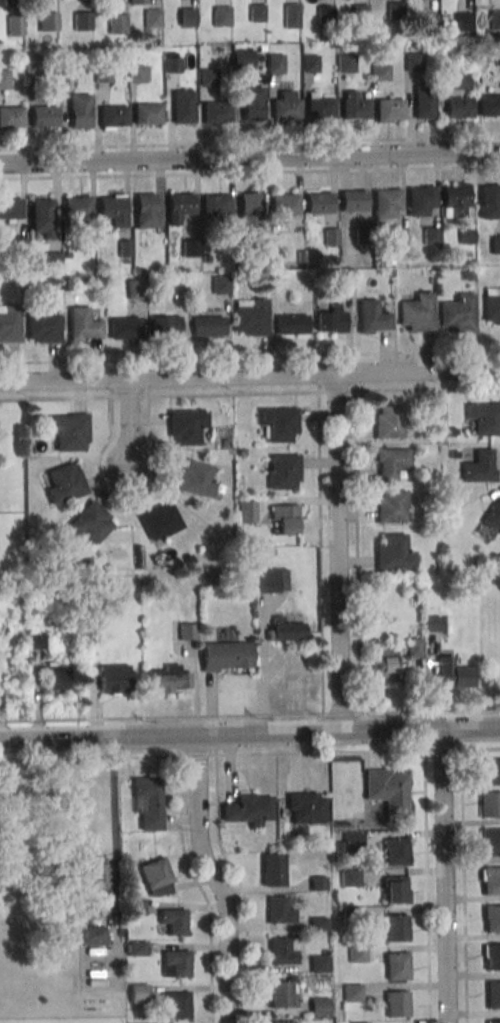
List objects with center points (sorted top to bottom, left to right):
building: (38, 1)
building: (136, 1)
building: (2, 2)
building: (394, 10)
building: (256, 13)
building: (359, 13)
building: (324, 14)
building: (221, 15)
building: (290, 15)
building: (187, 16)
building: (152, 18)
building: (494, 19)
building: (49, 21)
building: (82, 21)
building: (428, 21)
building: (463, 21)
building: (14, 24)
building: (116, 24)
building: (340, 46)
building: (481, 52)
building: (153, 56)
building: (242, 59)
building: (413, 62)
building: (309, 63)
building: (344, 63)
building: (33, 64)
building: (171, 64)
building: (274, 64)
building: (69, 67)
building: (380, 72)
building: (136, 73)
building: (103, 74)
building: (206, 77)
building: (4, 79)
building: (460, 81)
building: (424, 101)
building: (252, 103)
building: (489, 104)
building: (285, 105)
building: (353, 105)
building: (182, 106)
building: (458, 107)
building: (319, 108)
building: (389, 109)
building: (79, 111)
building: (216, 112)
building: (146, 113)
building: (44, 116)
building: (113, 116)
building: (11, 117)
road: (250, 142)
road: (250, 156)
road: (250, 172)
building: (353, 200)
building: (420, 200)
building: (455, 201)
building: (490, 201)
building: (318, 202)
building: (385, 203)
building: (215, 204)
building: (283, 204)
building: (77, 206)
building: (178, 206)
building: (11, 208)
building: (113, 210)
building: (145, 210)
building: (249, 211)
building: (42, 218)
building: (362, 235)
building: (398, 235)
building: (432, 235)
building: (330, 236)
building: (467, 236)
building: (496, 244)
building: (18, 245)
building: (190, 248)
building: (124, 249)
building: (67, 255)
building: (300, 256)
building: (206, 258)
building: (53, 260)
building: (124, 260)
building: (468, 275)
building: (433, 281)
building: (344, 283)
building: (220, 284)
building: (135, 288)
building: (492, 305)
building: (418, 312)
building: (459, 313)
building: (250, 317)
building: (373, 317)
building: (331, 318)
building: (10, 323)
building: (293, 323)
building: (43, 324)
building: (83, 324)
building: (165, 325)
building: (207, 325)
building: (124, 328)
road: (250, 358)
road: (249, 377)
road: (249, 393)
building: (433, 409)
building: (484, 417)
building: (390, 422)
road: (127, 423)
building: (278, 423)
building: (185, 426)
building: (68, 432)
building: (451, 432)
building: (225, 443)
building: (240, 453)
building: (453, 455)
building: (390, 462)
building: (480, 466)
building: (283, 471)
building: (196, 478)
building: (424, 478)
building: (63, 482)
road: (130, 497)
building: (392, 505)
building: (247, 512)
building: (493, 512)
building: (286, 518)
building: (159, 520)
building: (90, 523)
road: (356, 551)
building: (393, 551)
road: (319, 552)
road: (335, 553)
building: (86, 562)
building: (471, 568)
building: (270, 580)
building: (434, 623)
building: (285, 630)
building: (186, 631)
building: (35, 641)
building: (415, 647)
building: (225, 656)
building: (387, 664)
building: (452, 674)
building: (57, 678)
building: (114, 678)
building: (166, 679)
road: (249, 714)
road: (249, 734)
road: (249, 754)
building: (489, 771)
building: (386, 790)
building: (147, 801)
building: (489, 804)
building: (305, 807)
building: (248, 809)
building: (353, 840)
building: (490, 843)
building: (396, 852)
building: (272, 869)
building: (154, 873)
building: (93, 874)
road: (444, 876)
road: (214, 878)
building: (350, 878)
building: (491, 880)
building: (316, 884)
road: (239, 886)
road: (426, 886)
road: (462, 886)
road: (199, 888)
building: (395, 889)
building: (136, 907)
road: (81, 910)
building: (278, 910)
building: (349, 916)
building: (491, 919)
building: (172, 920)
building: (317, 925)
building: (395, 928)
building: (89, 929)
building: (136, 948)
building: (282, 950)
building: (324, 954)
building: (357, 954)
building: (491, 957)
building: (175, 963)
building: (318, 965)
building: (396, 966)
building: (138, 993)
building: (351, 993)
building: (279, 995)
building: (493, 996)
building: (397, 1004)
building: (174, 1005)
building: (319, 1007)
building: (493, 1021)
building: (280, 1022)
building: (359, 1022)

